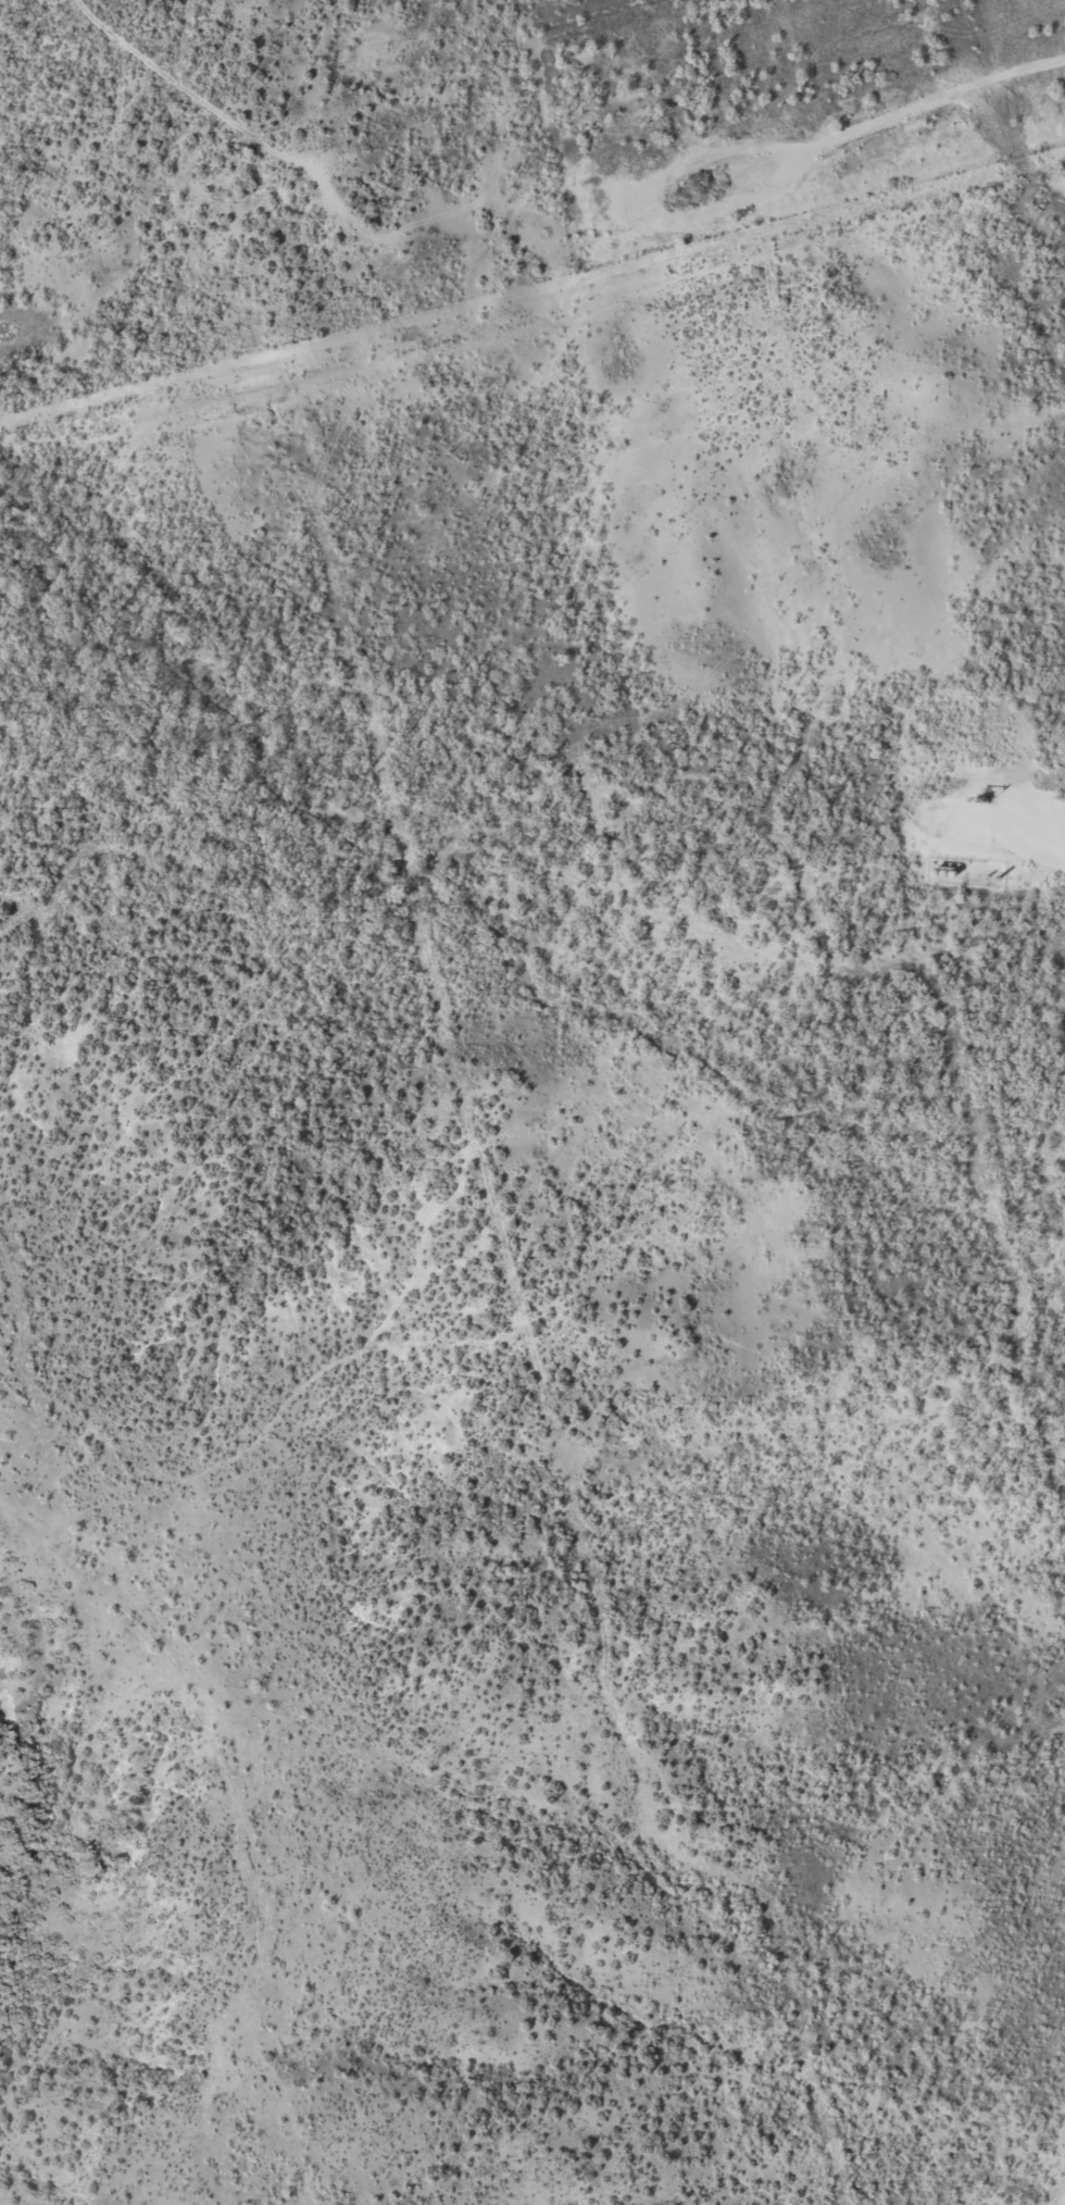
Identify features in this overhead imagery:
road: (930, 95)
road: (699, 245)

